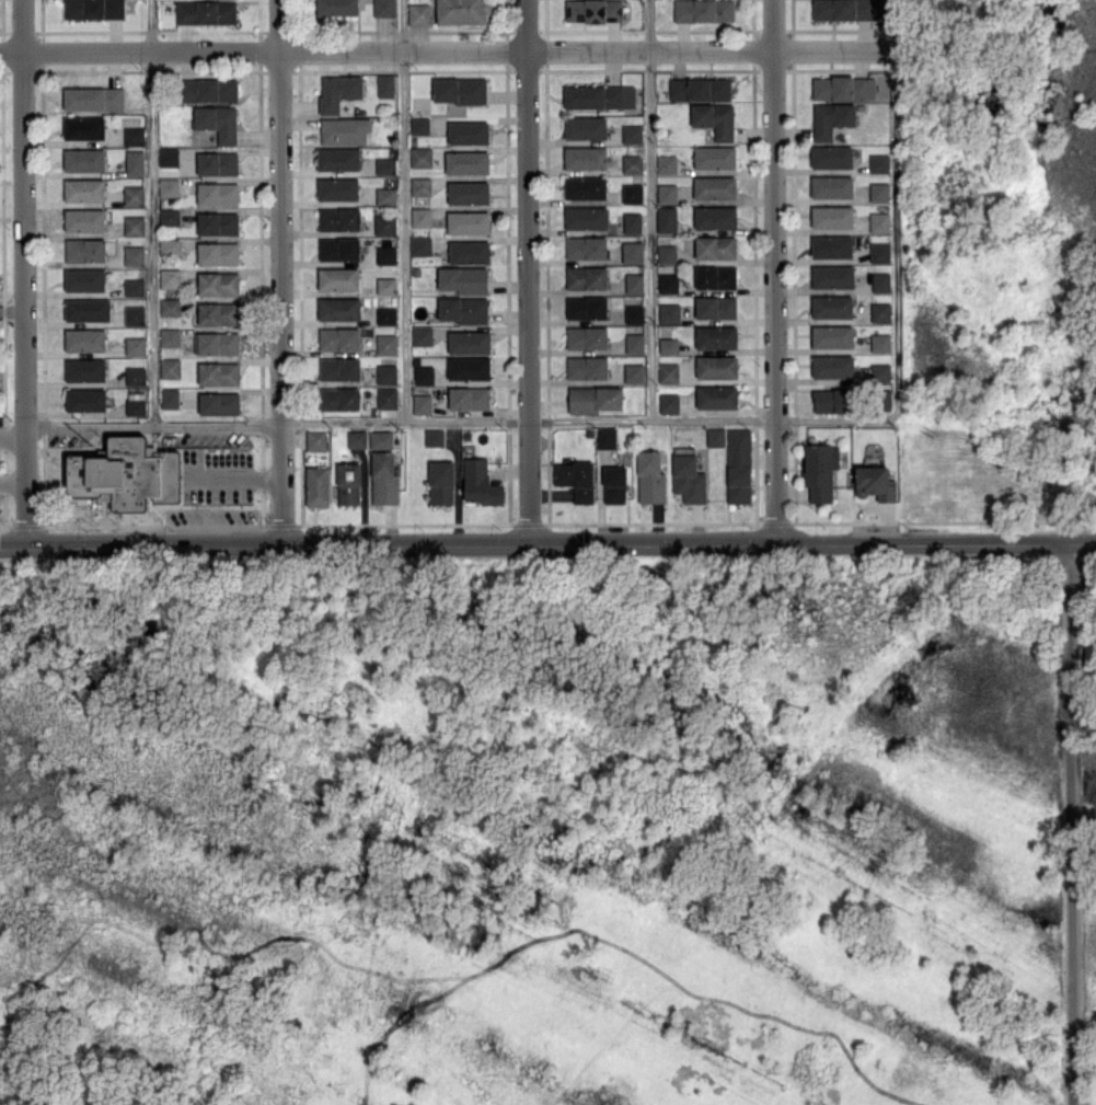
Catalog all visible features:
building: (336, 7)
building: (383, 8)
building: (94, 9)
building: (849, 9)
building: (592, 10)
building: (703, 10)
building: (462, 11)
building: (206, 12)
building: (419, 13)
road: (448, 53)
building: (385, 85)
building: (851, 87)
building: (699, 88)
building: (208, 89)
building: (459, 89)
building: (338, 91)
building: (599, 95)
building: (93, 97)
building: (714, 118)
building: (831, 118)
building: (218, 122)
building: (419, 125)
building: (84, 127)
building: (585, 127)
building: (344, 130)
building: (468, 131)
building: (632, 133)
building: (134, 136)
building: (420, 156)
building: (831, 156)
building: (168, 157)
building: (585, 157)
building: (714, 157)
building: (338, 158)
building: (83, 159)
building: (135, 161)
building: (466, 161)
building: (217, 162)
building: (878, 162)
building: (632, 163)
building: (666, 163)
building: (385, 165)
building: (420, 185)
building: (169, 186)
building: (714, 186)
building: (831, 186)
building: (337, 187)
building: (585, 187)
building: (84, 189)
building: (468, 192)
building: (879, 192)
building: (218, 193)
building: (632, 193)
building: (667, 193)
building: (134, 194)
building: (385, 194)
road: (897, 207)
road: (649, 209)
road: (403, 211)
road: (151, 214)
building: (169, 216)
building: (420, 216)
building: (831, 216)
building: (586, 217)
building: (715, 217)
building: (338, 218)
building: (666, 218)
building: (84, 219)
building: (468, 221)
building: (879, 221)
building: (217, 222)
building: (632, 222)
building: (384, 223)
building: (134, 225)
building: (420, 245)
building: (169, 246)
building: (586, 246)
building: (715, 246)
building: (831, 246)
building: (338, 248)
building: (85, 250)
building: (469, 251)
building: (632, 251)
building: (879, 252)
building: (218, 253)
building: (667, 253)
building: (134, 254)
building: (385, 254)
road: (774, 273)
road: (282, 274)
road: (526, 274)
road: (23, 275)
building: (715, 276)
building: (832, 276)
building: (170, 277)
building: (586, 277)
building: (337, 278)
building: (463, 278)
building: (84, 279)
building: (880, 281)
building: (218, 283)
building: (634, 283)
building: (668, 283)
building: (387, 285)
building: (134, 286)
building: (170, 306)
building: (715, 306)
building: (831, 306)
building: (586, 307)
road: (12, 308)
building: (338, 308)
building: (88, 309)
building: (463, 309)
building: (218, 312)
building: (669, 312)
building: (880, 312)
building: (634, 313)
building: (134, 314)
building: (385, 315)
building: (422, 335)
building: (170, 336)
building: (587, 336)
building: (715, 336)
building: (832, 336)
building: (338, 338)
building: (84, 339)
building: (469, 342)
building: (634, 342)
building: (880, 342)
building: (217, 343)
building: (387, 343)
building: (135, 345)
building: (668, 345)
building: (716, 366)
building: (832, 366)
building: (170, 367)
building: (469, 367)
building: (587, 367)
building: (339, 368)
building: (85, 369)
building: (668, 371)
building: (880, 371)
building: (218, 372)
building: (634, 372)
building: (385, 373)
building: (423, 373)
building: (135, 375)
building: (387, 396)
building: (716, 396)
building: (169, 398)
building: (338, 398)
building: (469, 398)
building: (595, 398)
building: (84, 399)
building: (830, 400)
building: (219, 402)
building: (668, 402)
building: (136, 403)
building: (422, 403)
road: (590, 419)
road: (219, 426)
road: (90, 428)
road: (12, 431)
building: (715, 436)
building: (434, 437)
building: (605, 437)
building: (356, 438)
building: (316, 439)
building: (380, 439)
building: (739, 464)
building: (820, 470)
building: (125, 473)
parking lot: (221, 473)
building: (688, 475)
road: (234, 476)
building: (383, 477)
building: (650, 477)
building: (576, 479)
building: (348, 482)
building: (441, 482)
building: (480, 482)
building: (875, 482)
building: (614, 484)
road: (12, 485)
building: (316, 485)
road: (547, 546)
road: (1071, 825)

